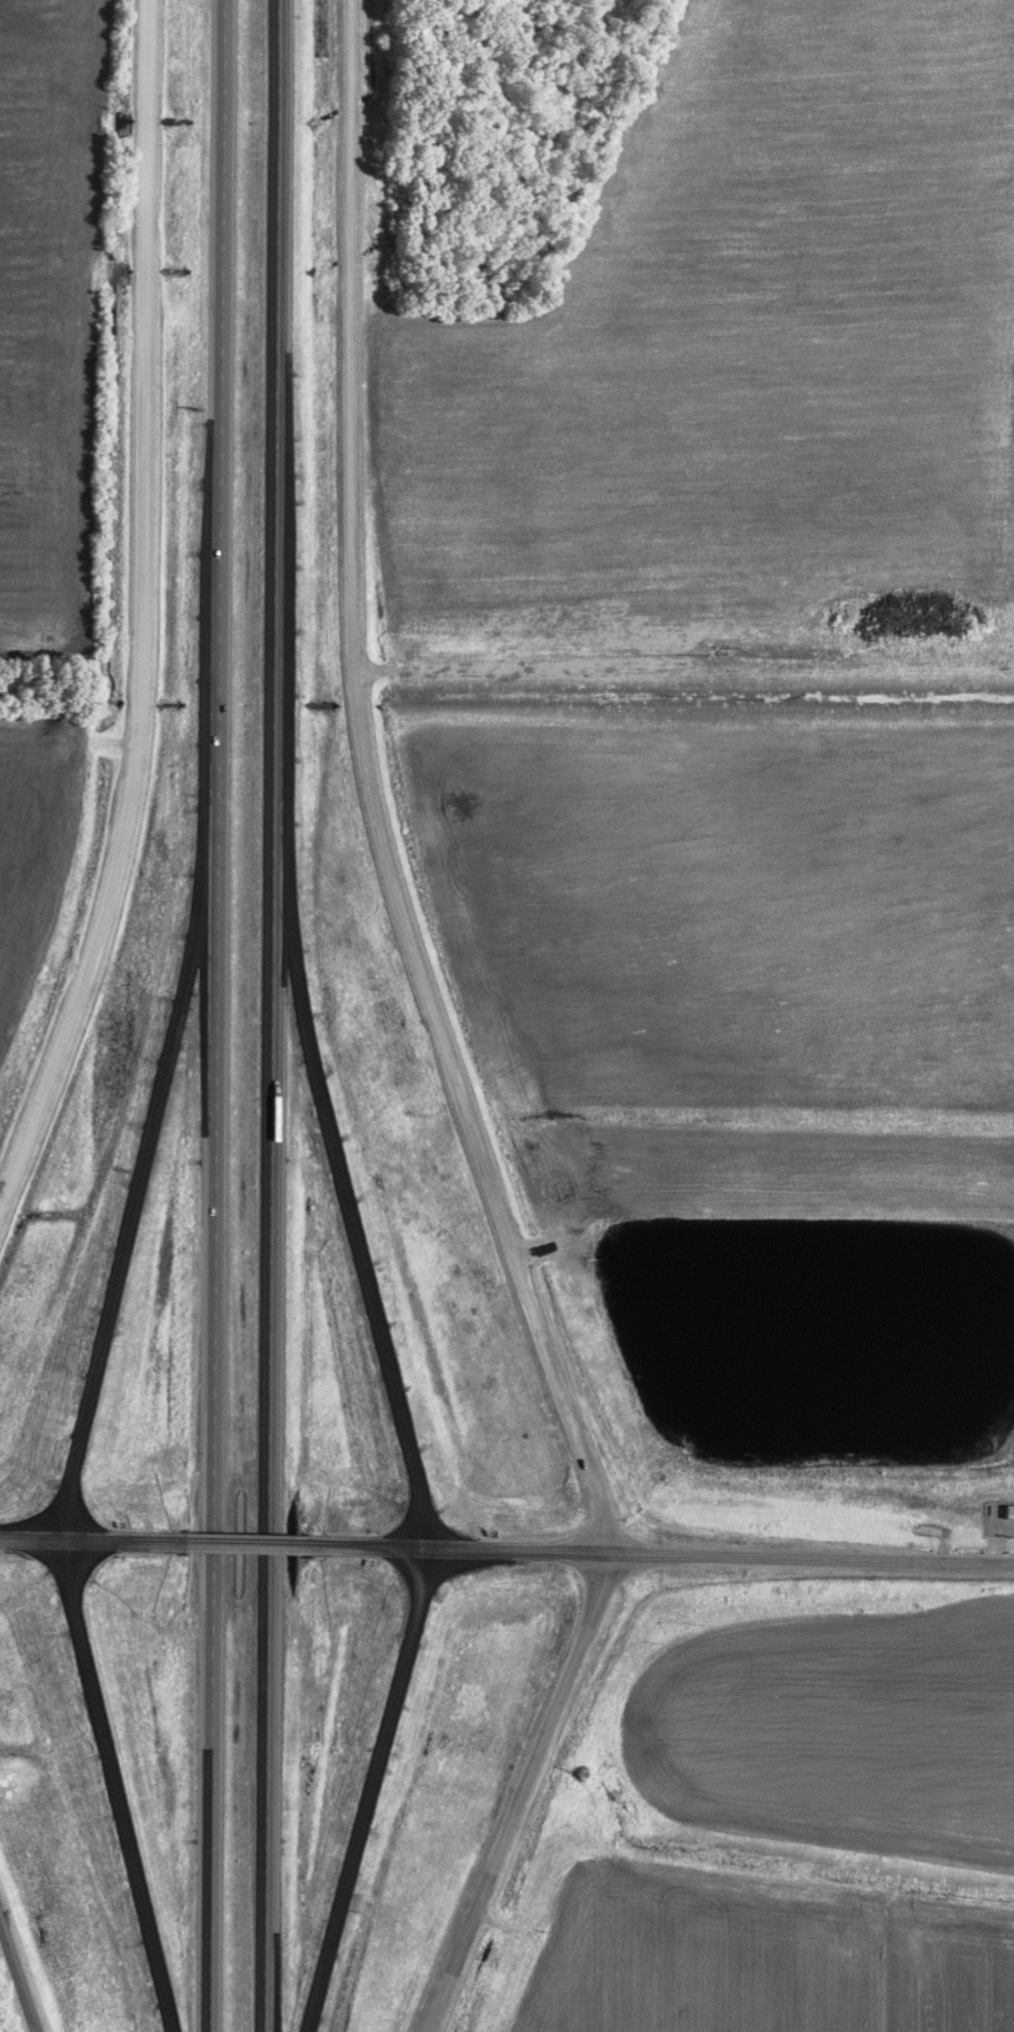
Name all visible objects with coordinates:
road: (352, 335)
road: (146, 616)
road: (214, 1015)
road: (270, 1015)
road: (467, 1115)
road: (151, 1125)
road: (332, 1146)
building: (1009, 1508)
road: (93, 1539)
road: (243, 1542)
road: (657, 1556)
road: (112, 1786)
road: (367, 1790)
road: (524, 1795)
road: (19, 1978)

